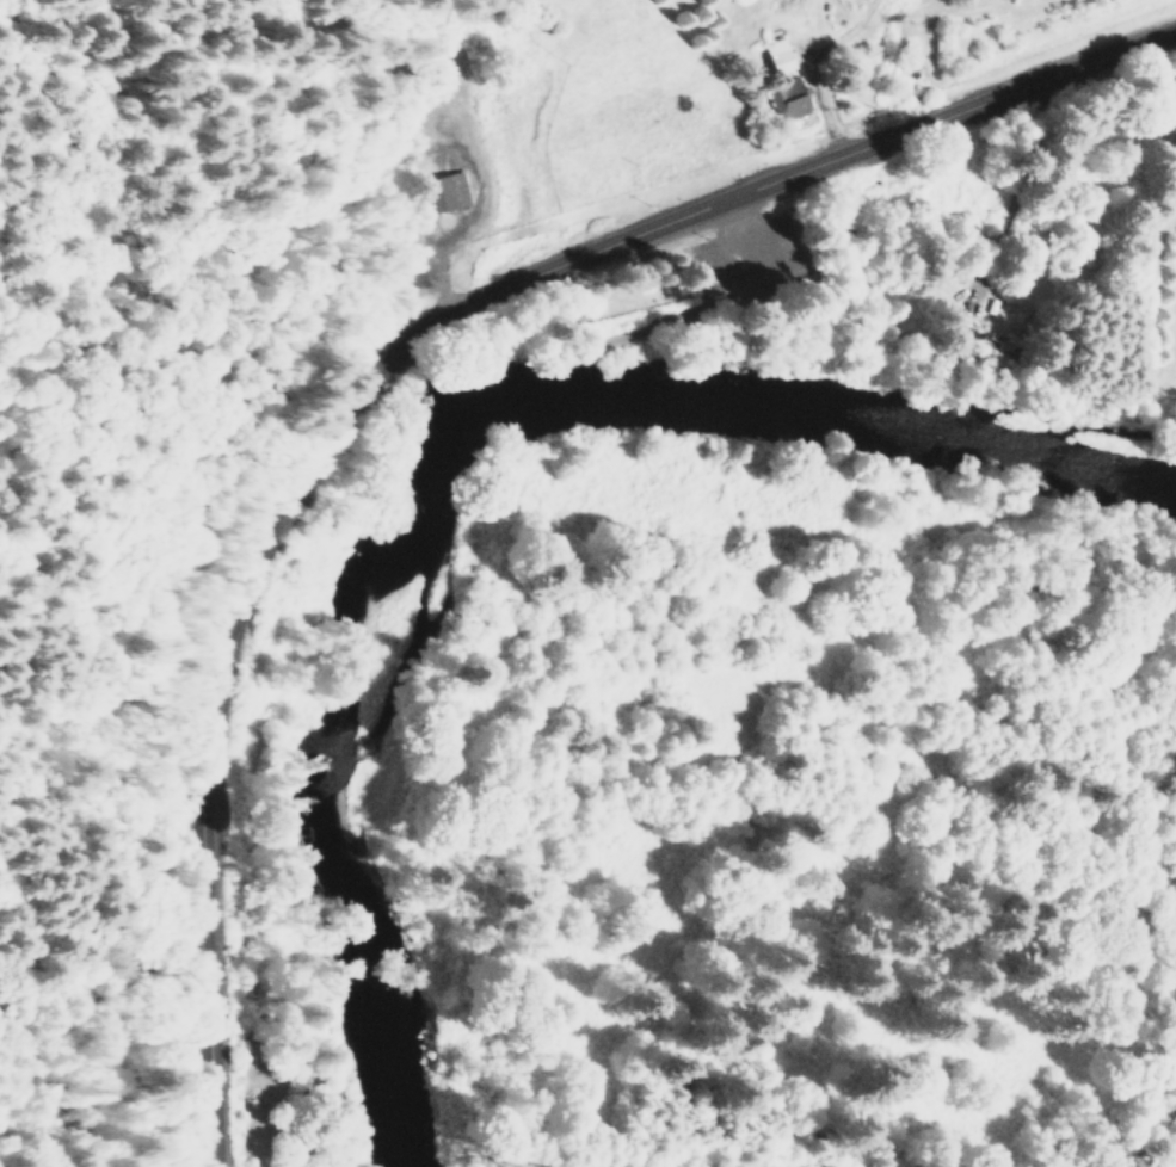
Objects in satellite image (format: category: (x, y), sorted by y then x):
building: (776, 56)
building: (786, 105)
road: (456, 152)
building: (441, 192)
park: (714, 298)
road: (715, 305)
road: (387, 357)
river: (449, 446)

